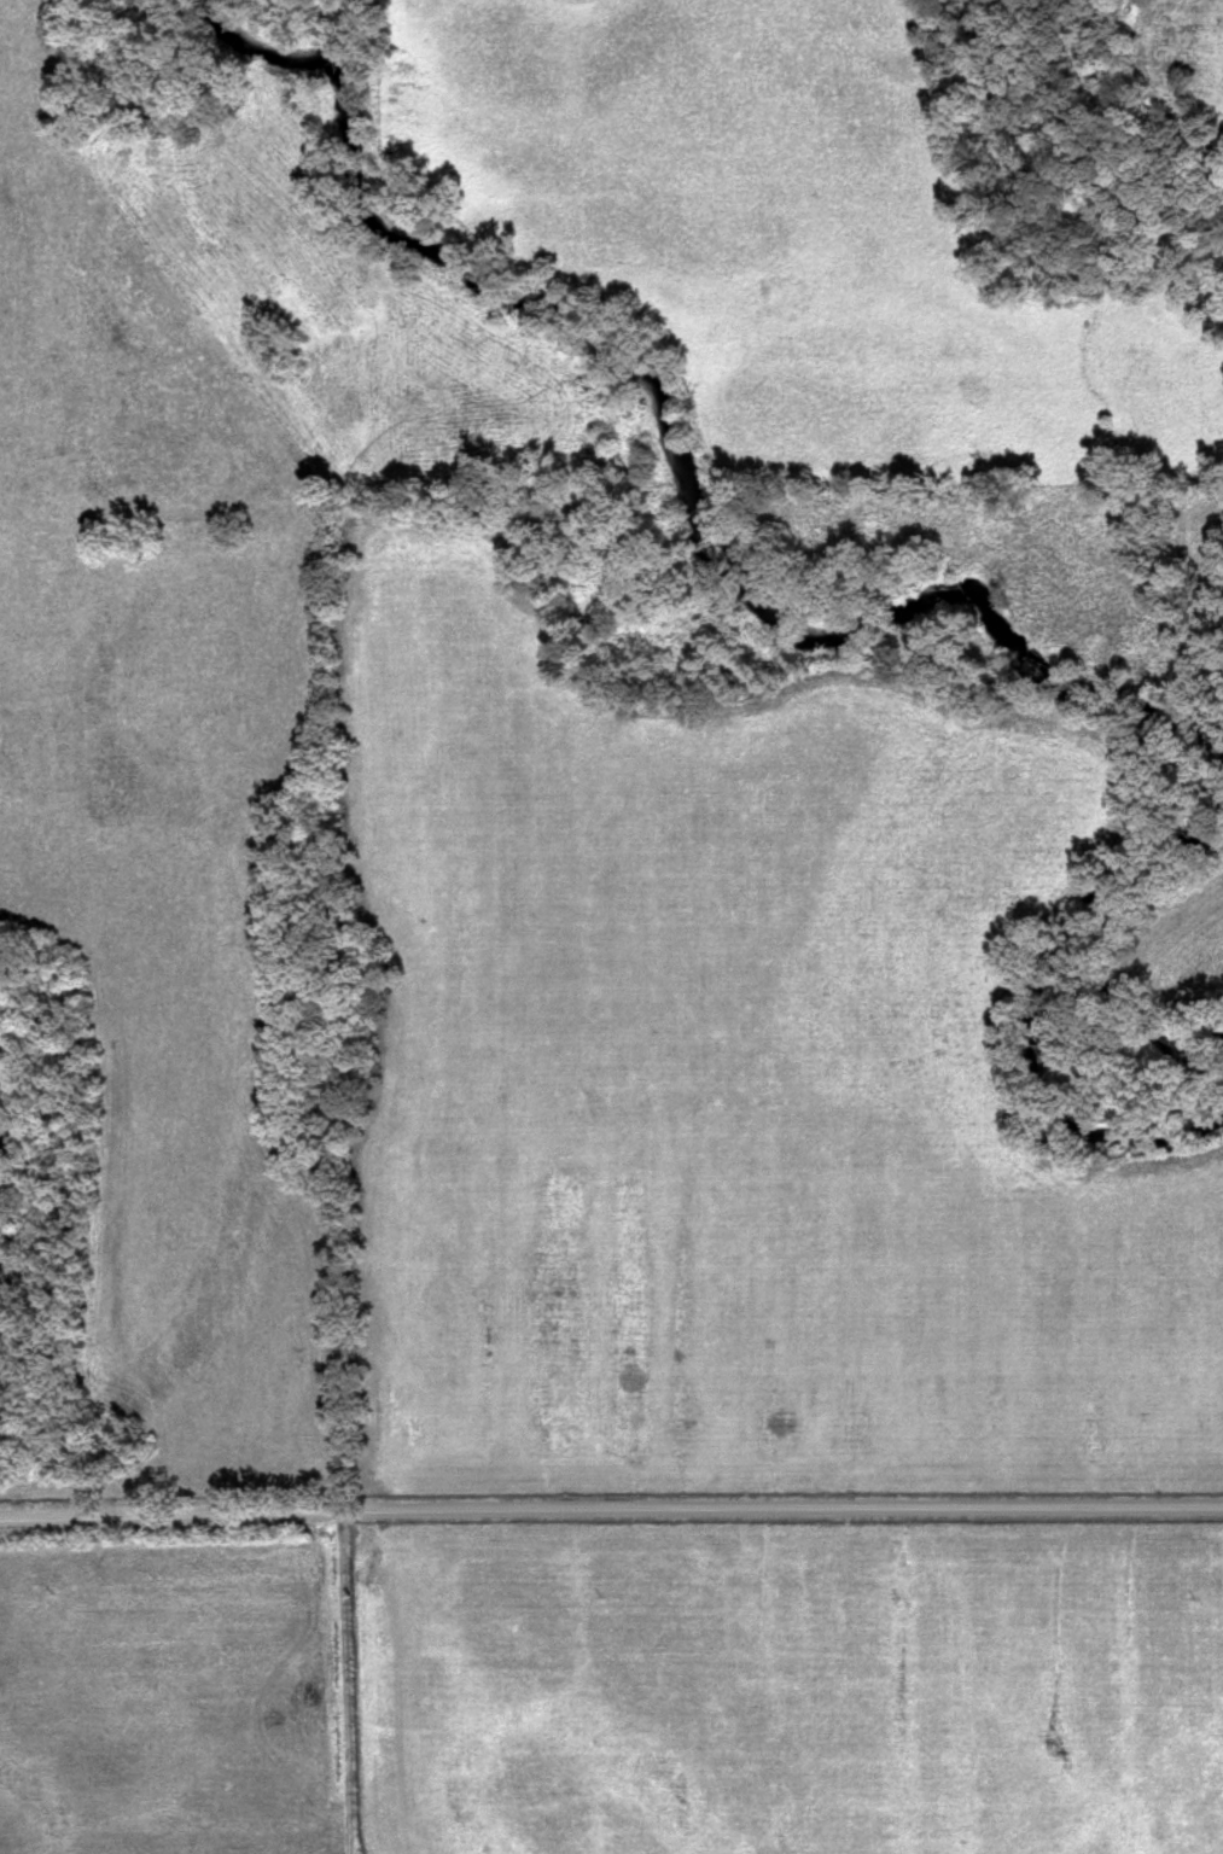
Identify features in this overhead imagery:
road: (611, 1510)

